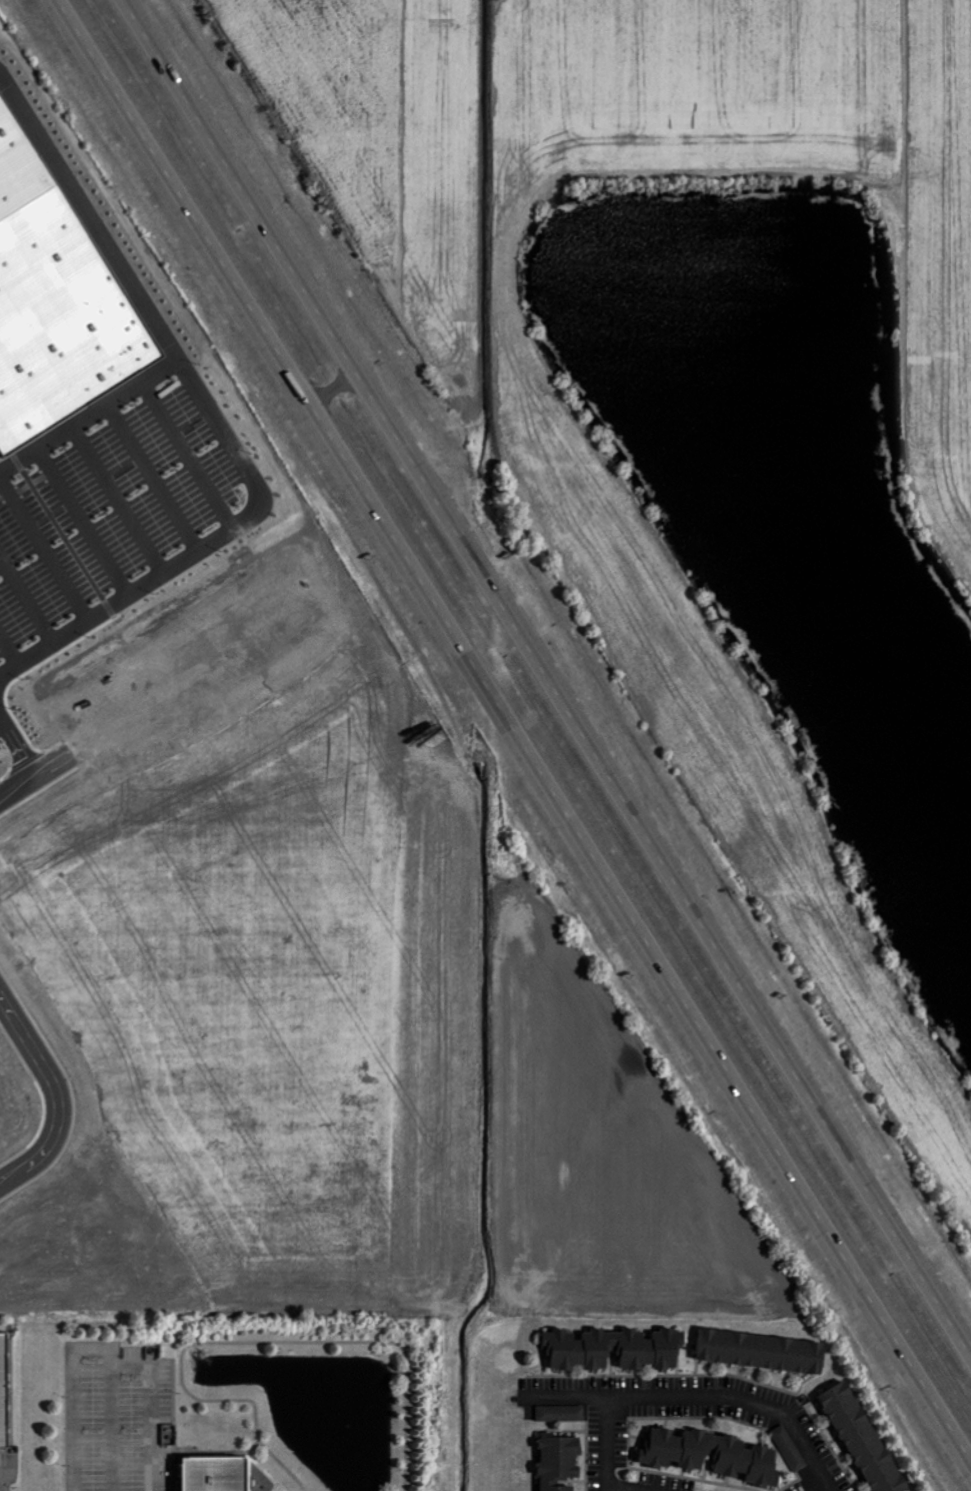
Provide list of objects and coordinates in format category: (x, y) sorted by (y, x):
building: (55, 301)
road: (334, 386)
road: (191, 455)
road: (253, 476)
road: (156, 478)
road: (121, 500)
parking lot: (117, 512)
road: (87, 522)
road: (45, 552)
road: (29, 597)
road: (12, 647)
road: (548, 676)
road: (4, 721)
road: (515, 728)
road: (35, 768)
road: (59, 1094)
road: (110, 1347)
building: (616, 1349)
building: (764, 1351)
building: (4, 1391)
building: (562, 1413)
road: (674, 1417)
road: (116, 1427)
building: (865, 1438)
building: (791, 1448)
road: (600, 1454)
building: (714, 1454)
road: (821, 1460)
building: (561, 1462)
building: (218, 1473)
road: (3, 1481)
road: (834, 1489)

